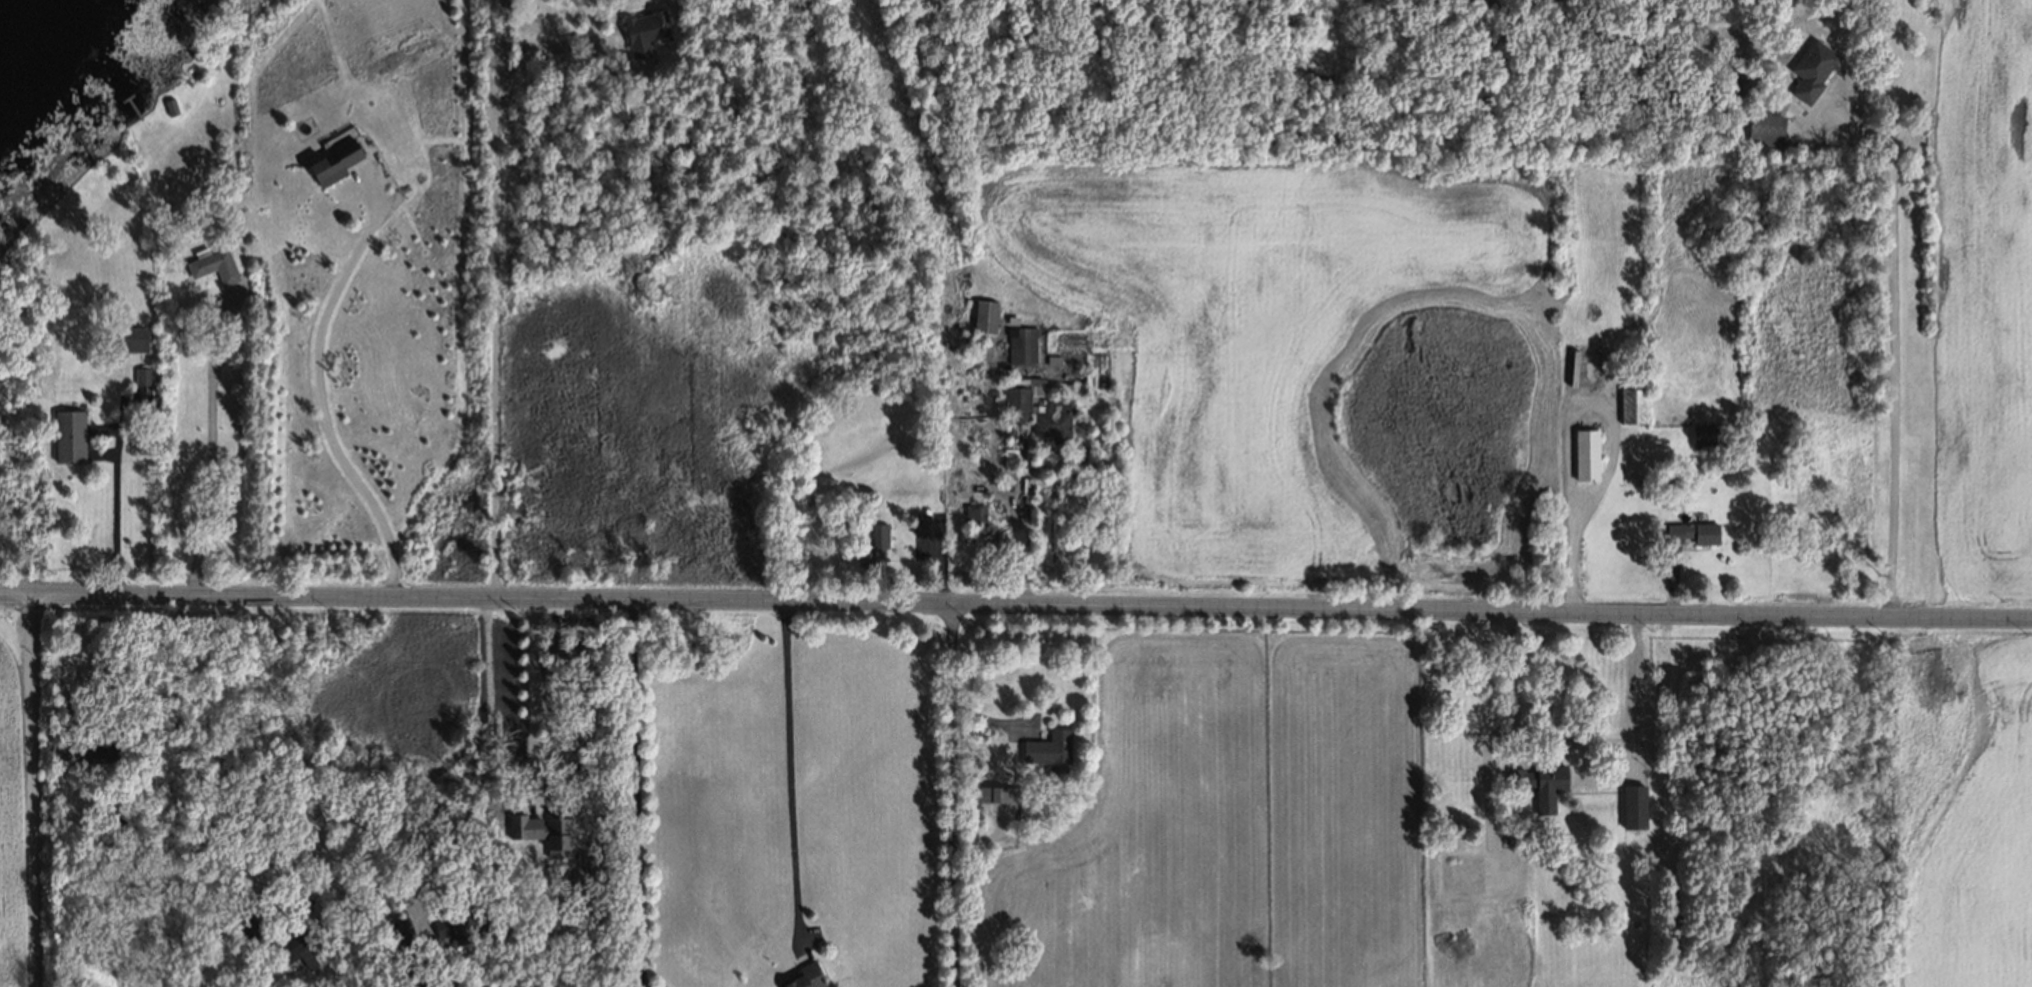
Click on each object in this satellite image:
building: (641, 32)
building: (1810, 68)
building: (164, 106)
building: (1763, 128)
building: (333, 161)
building: (212, 264)
road: (491, 285)
building: (983, 316)
building: (126, 337)
building: (1019, 345)
road: (1896, 351)
building: (141, 375)
road: (319, 398)
building: (1014, 401)
building: (1631, 404)
building: (1049, 417)
building: (64, 434)
building: (1700, 435)
road: (208, 452)
building: (1584, 453)
building: (972, 511)
road: (113, 519)
building: (918, 522)
building: (1689, 532)
building: (871, 544)
road: (1015, 611)
road: (52, 653)
road: (532, 702)
road: (1573, 739)
building: (1046, 747)
building: (99, 748)
building: (67, 749)
road: (181, 767)
road: (485, 767)
road: (790, 770)
building: (1536, 777)
building: (995, 792)
road: (27, 794)
road: (637, 797)
road: (952, 798)
building: (1631, 805)
building: (113, 821)
building: (320, 915)
building: (456, 921)
building: (399, 932)
building: (293, 943)
building: (801, 976)
building: (432, 983)

